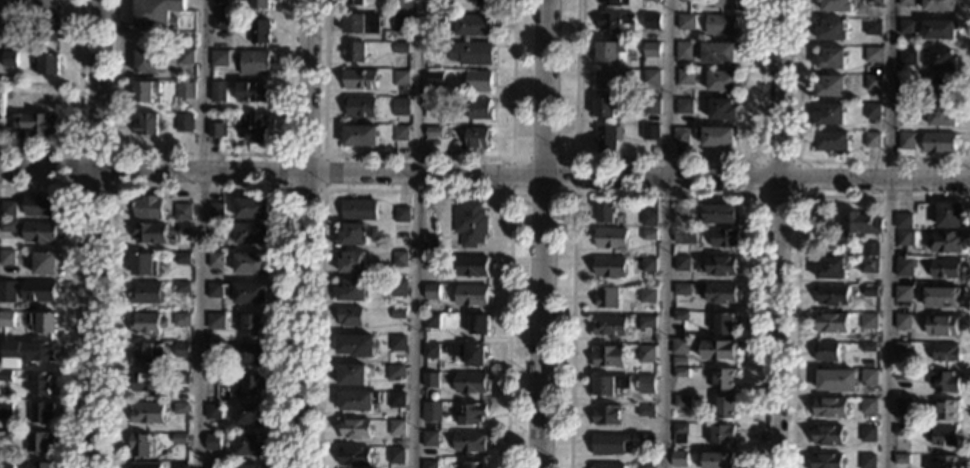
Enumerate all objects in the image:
building: (7, 0)
building: (652, 0)
building: (687, 0)
building: (220, 1)
building: (355, 2)
building: (485, 2)
building: (612, 2)
building: (45, 3)
building: (720, 3)
building: (874, 3)
building: (906, 3)
building: (261, 4)
building: (431, 5)
building: (836, 5)
building: (939, 5)
building: (158, 13)
building: (436, 19)
building: (652, 21)
building: (685, 21)
building: (11, 23)
building: (221, 23)
building: (362, 23)
building: (401, 23)
building: (614, 23)
building: (473, 25)
building: (721, 25)
building: (907, 26)
building: (873, 27)
building: (51, 28)
building: (939, 29)
building: (831, 30)
building: (260, 31)
building: (400, 47)
building: (437, 47)
building: (685, 49)
building: (651, 50)
building: (356, 52)
building: (469, 52)
building: (610, 52)
building: (719, 53)
building: (873, 54)
building: (186, 56)
building: (907, 56)
building: (220, 58)
building: (831, 58)
building: (10, 59)
building: (942, 59)
building: (147, 61)
building: (255, 62)
building: (49, 64)
building: (685, 76)
building: (652, 77)
building: (401, 78)
building: (435, 78)
building: (361, 79)
building: (611, 79)
building: (478, 80)
building: (722, 80)
building: (873, 82)
building: (906, 84)
building: (831, 86)
building: (942, 87)
building: (146, 90)
building: (186, 90)
building: (253, 91)
building: (218, 92)
building: (684, 105)
building: (400, 106)
building: (607, 106)
building: (652, 106)
building: (362, 107)
building: (480, 108)
building: (723, 109)
building: (872, 110)
building: (907, 111)
building: (830, 114)
road: (80, 115)
building: (941, 115)
building: (185, 117)
building: (38, 123)
building: (149, 124)
building: (255, 127)
building: (217, 129)
building: (433, 132)
building: (650, 132)
building: (400, 133)
building: (360, 135)
building: (716, 136)
building: (476, 137)
building: (681, 137)
building: (607, 138)
building: (872, 140)
building: (906, 140)
building: (832, 141)
building: (938, 142)
road: (202, 153)
road: (419, 155)
road: (668, 159)
road: (803, 160)
road: (485, 177)
road: (113, 187)
road: (200, 188)
road: (324, 188)
road: (415, 190)
road: (573, 191)
road: (664, 194)
road: (794, 196)
building: (41, 205)
building: (148, 207)
building: (251, 208)
building: (8, 209)
building: (359, 209)
building: (216, 210)
building: (680, 211)
building: (183, 212)
building: (606, 212)
building: (721, 214)
building: (402, 215)
building: (949, 215)
building: (649, 218)
building: (903, 220)
building: (862, 223)
building: (470, 224)
building: (8, 226)
building: (184, 228)
building: (216, 230)
building: (400, 231)
building: (40, 232)
road: (95, 233)
building: (150, 233)
road: (200, 233)
building: (252, 233)
road: (308, 233)
road: (416, 233)
road: (540, 233)
road: (666, 233)
road: (778, 233)
building: (353, 234)
road: (887, 234)
building: (649, 235)
building: (684, 235)
building: (724, 237)
building: (611, 238)
building: (905, 238)
building: (945, 242)
building: (430, 244)
road: (794, 244)
building: (870, 248)
building: (7, 257)
building: (182, 258)
building: (216, 259)
building: (399, 259)
building: (432, 260)
building: (251, 262)
building: (354, 262)
building: (45, 263)
building: (682, 263)
building: (144, 264)
building: (648, 264)
building: (470, 265)
building: (869, 265)
building: (609, 266)
building: (721, 266)
building: (831, 268)
building: (904, 268)
building: (945, 268)
road: (77, 287)
building: (183, 288)
building: (398, 288)
building: (682, 289)
building: (353, 290)
building: (39, 291)
building: (215, 291)
building: (432, 291)
building: (870, 291)
building: (8, 292)
building: (248, 292)
building: (148, 293)
building: (721, 293)
building: (903, 293)
building: (471, 295)
building: (648, 295)
building: (832, 295)
building: (942, 296)
building: (605, 297)
building: (398, 313)
building: (350, 315)
building: (680, 315)
building: (7, 319)
building: (182, 319)
building: (431, 320)
building: (216, 321)
building: (646, 321)
building: (869, 321)
building: (904, 321)
building: (44, 322)
building: (831, 322)
building: (148, 323)
building: (724, 323)
building: (252, 324)
building: (479, 325)
building: (942, 325)
building: (609, 326)
building: (398, 343)
building: (357, 345)
building: (680, 346)
building: (868, 347)
building: (902, 347)
building: (215, 348)
building: (719, 349)
building: (182, 350)
building: (430, 350)
building: (826, 351)
building: (31, 352)
building: (148, 353)
building: (248, 353)
building: (469, 353)
building: (646, 353)
building: (946, 353)
building: (607, 356)
building: (680, 361)
building: (868, 363)
building: (395, 372)
building: (681, 372)
building: (352, 374)
building: (903, 374)
building: (6, 375)
building: (869, 377)
building: (182, 379)
building: (215, 379)
building: (430, 379)
building: (724, 379)
building: (837, 380)
building: (944, 381)
building: (148, 382)
building: (42, 383)
building: (470, 383)
building: (608, 384)
building: (646, 384)
building: (250, 385)
building: (396, 399)
building: (358, 400)
building: (682, 400)
building: (904, 402)
building: (431, 406)
building: (869, 406)
building: (6, 407)
building: (726, 407)
building: (830, 407)
building: (181, 408)
building: (645, 410)
building: (947, 410)
building: (214, 411)
building: (43, 412)
building: (148, 413)
building: (469, 413)
building: (250, 415)
building: (606, 415)
building: (397, 427)
building: (356, 428)
building: (901, 430)
building: (680, 433)
building: (868, 434)
building: (723, 435)
building: (828, 435)
building: (943, 435)
building: (6, 436)
building: (179, 438)
building: (429, 438)
building: (645, 439)
building: (40, 442)
building: (213, 442)
building: (470, 442)
building: (611, 444)
building: (140, 445)
building: (249, 445)
building: (396, 455)
building: (356, 456)
building: (679, 459)
building: (901, 459)
building: (718, 460)
building: (868, 460)
building: (828, 461)
building: (944, 461)
building: (8, 464)
building: (429, 464)
building: (39, 465)
building: (145, 465)
building: (473, 465)
building: (646, 465)
building: (180, 466)
building: (247, 466)
building: (607, 466)
building: (214, 467)

